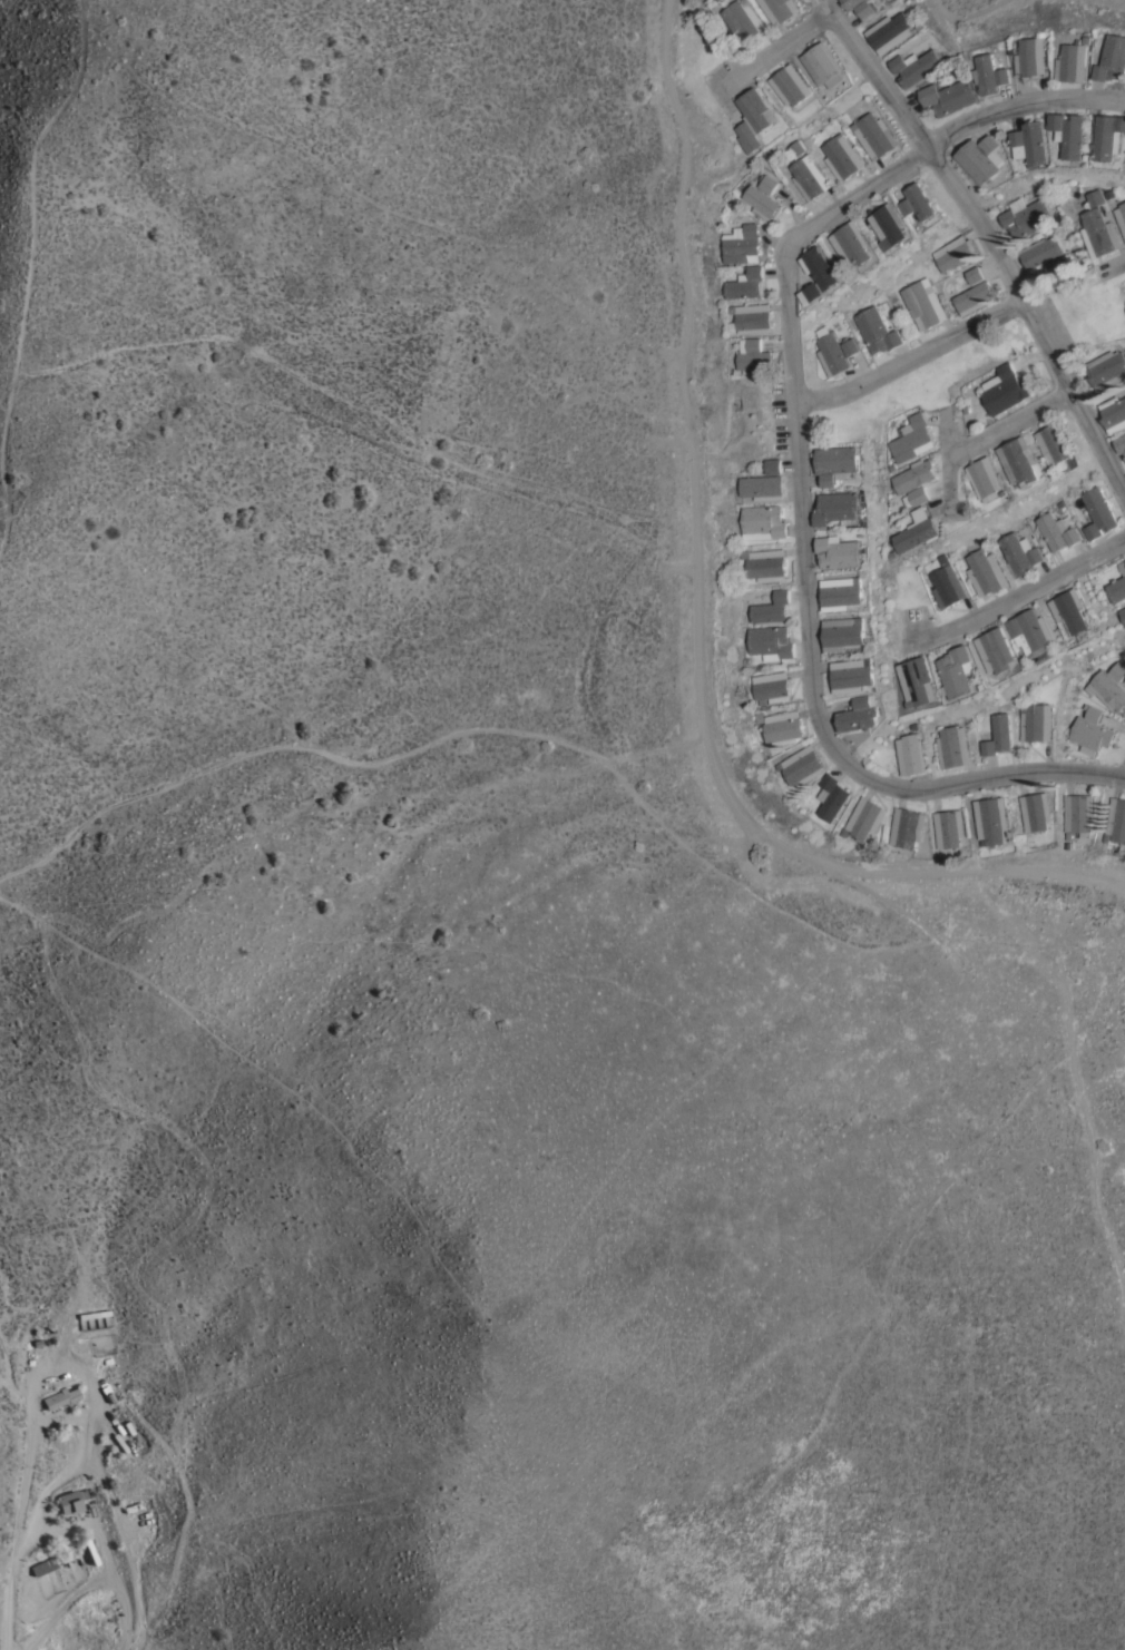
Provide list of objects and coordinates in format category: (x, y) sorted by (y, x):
building: (860, 6)
building: (780, 9)
building: (742, 19)
building: (889, 31)
road: (776, 49)
building: (1010, 50)
building: (1030, 55)
building: (1112, 58)
building: (1072, 61)
building: (824, 63)
building: (914, 65)
building: (988, 73)
building: (791, 84)
building: (949, 95)
road: (1017, 100)
building: (753, 118)
building: (1070, 132)
building: (874, 134)
building: (1108, 135)
building: (1031, 141)
building: (795, 148)
building: (841, 156)
building: (984, 157)
building: (809, 176)
building: (767, 181)
building: (1095, 196)
building: (762, 202)
building: (919, 202)
building: (1119, 212)
building: (1026, 216)
building: (891, 225)
building: (1099, 232)
road: (984, 239)
building: (741, 243)
building: (854, 243)
building: (1040, 251)
building: (956, 252)
building: (1057, 264)
road: (1118, 264)
building: (823, 267)
building: (975, 273)
building: (746, 283)
building: (812, 292)
building: (975, 296)
building: (923, 303)
building: (750, 317)
building: (877, 330)
building: (851, 346)
building: (830, 351)
road: (912, 356)
building: (755, 357)
building: (1107, 369)
building: (1005, 387)
building: (1114, 413)
road: (995, 431)
building: (912, 436)
building: (1121, 442)
building: (1057, 443)
building: (1021, 460)
building: (839, 462)
building: (773, 464)
building: (914, 474)
building: (988, 478)
building: (761, 485)
building: (917, 495)
building: (839, 507)
building: (1099, 512)
building: (762, 521)
building: (919, 530)
building: (1057, 530)
building: (841, 551)
building: (1020, 553)
building: (764, 563)
road: (804, 569)
building: (986, 571)
building: (947, 583)
building: (1117, 585)
building: (843, 591)
road: (1016, 592)
building: (772, 607)
building: (1072, 610)
building: (1122, 612)
building: (845, 631)
building: (1034, 631)
building: (771, 641)
building: (998, 649)
building: (958, 670)
building: (853, 674)
building: (917, 680)
building: (771, 685)
building: (1108, 685)
building: (860, 714)
building: (1036, 720)
building: (782, 726)
building: (1090, 729)
building: (998, 735)
building: (952, 746)
building: (911, 753)
building: (802, 765)
building: (832, 796)
building: (1036, 809)
building: (1078, 813)
building: (864, 817)
building: (991, 818)
building: (1116, 818)
building: (907, 826)
building: (949, 826)
building: (61, 1397)
building: (65, 1503)
road: (17, 1534)
building: (42, 1565)

